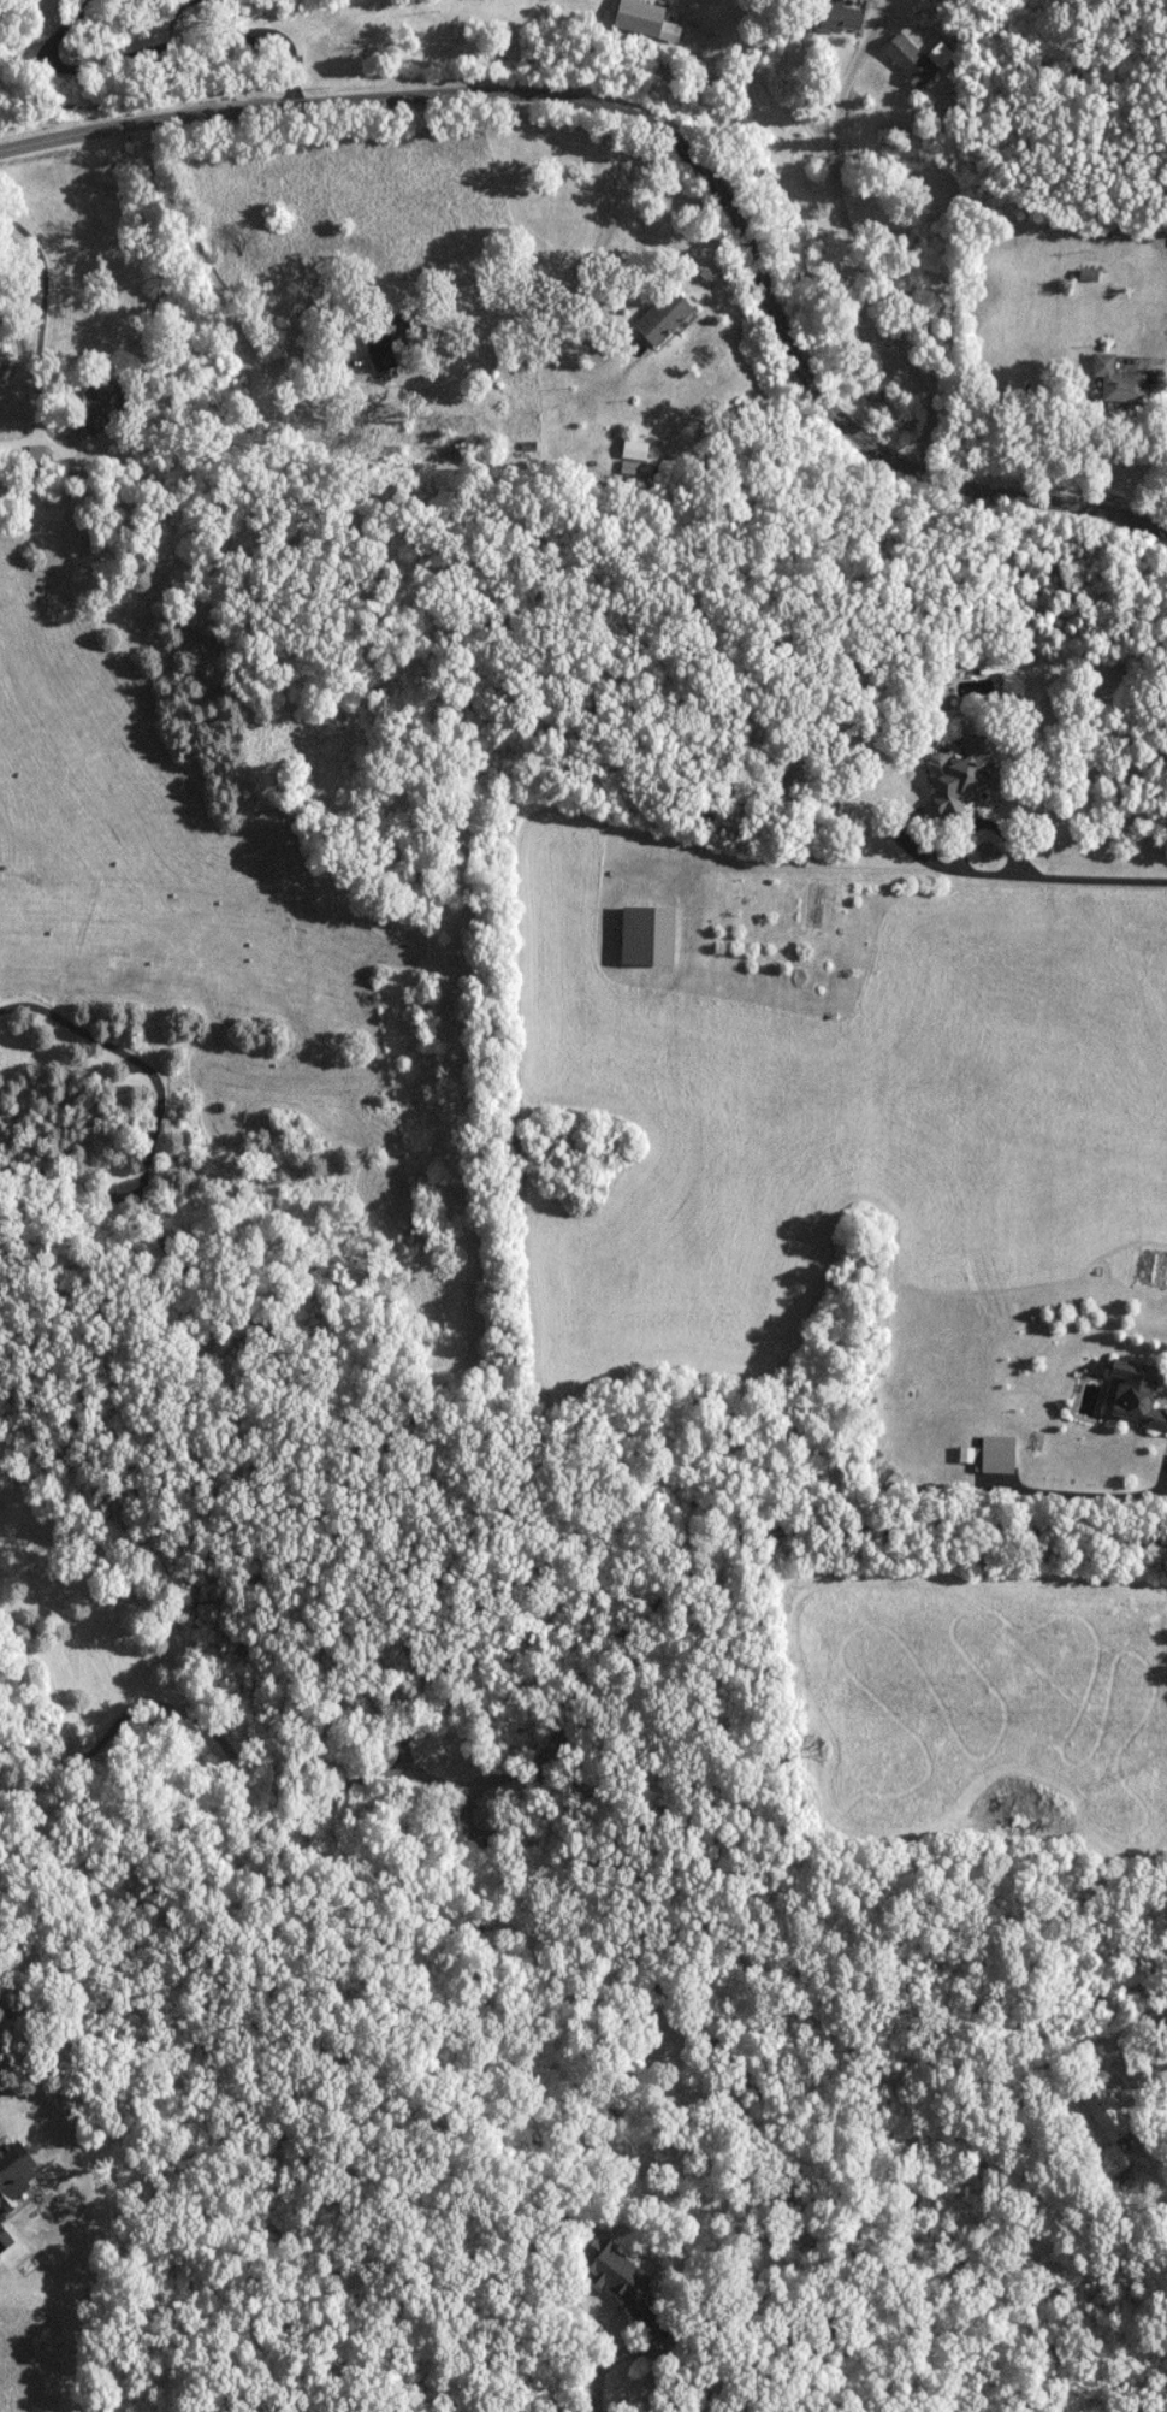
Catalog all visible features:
road: (173, 16)
building: (834, 16)
building: (645, 19)
road: (523, 20)
road: (58, 28)
road: (200, 37)
road: (533, 51)
building: (913, 59)
road: (23, 61)
road: (664, 149)
road: (857, 249)
road: (212, 279)
road: (43, 307)
building: (664, 317)
road: (1166, 349)
building: (1118, 382)
building: (102, 406)
building: (28, 459)
building: (959, 775)
road: (966, 827)
road: (1088, 876)
building: (650, 934)
road: (72, 1182)
road: (272, 1336)
building: (1137, 1395)
building: (994, 1460)
road: (1166, 1483)
road: (859, 1518)
road: (307, 1787)
road: (735, 2067)
building: (1106, 2110)
road: (1150, 2169)
building: (618, 2278)
road: (647, 2348)
road: (752, 2393)
road: (744, 2404)

